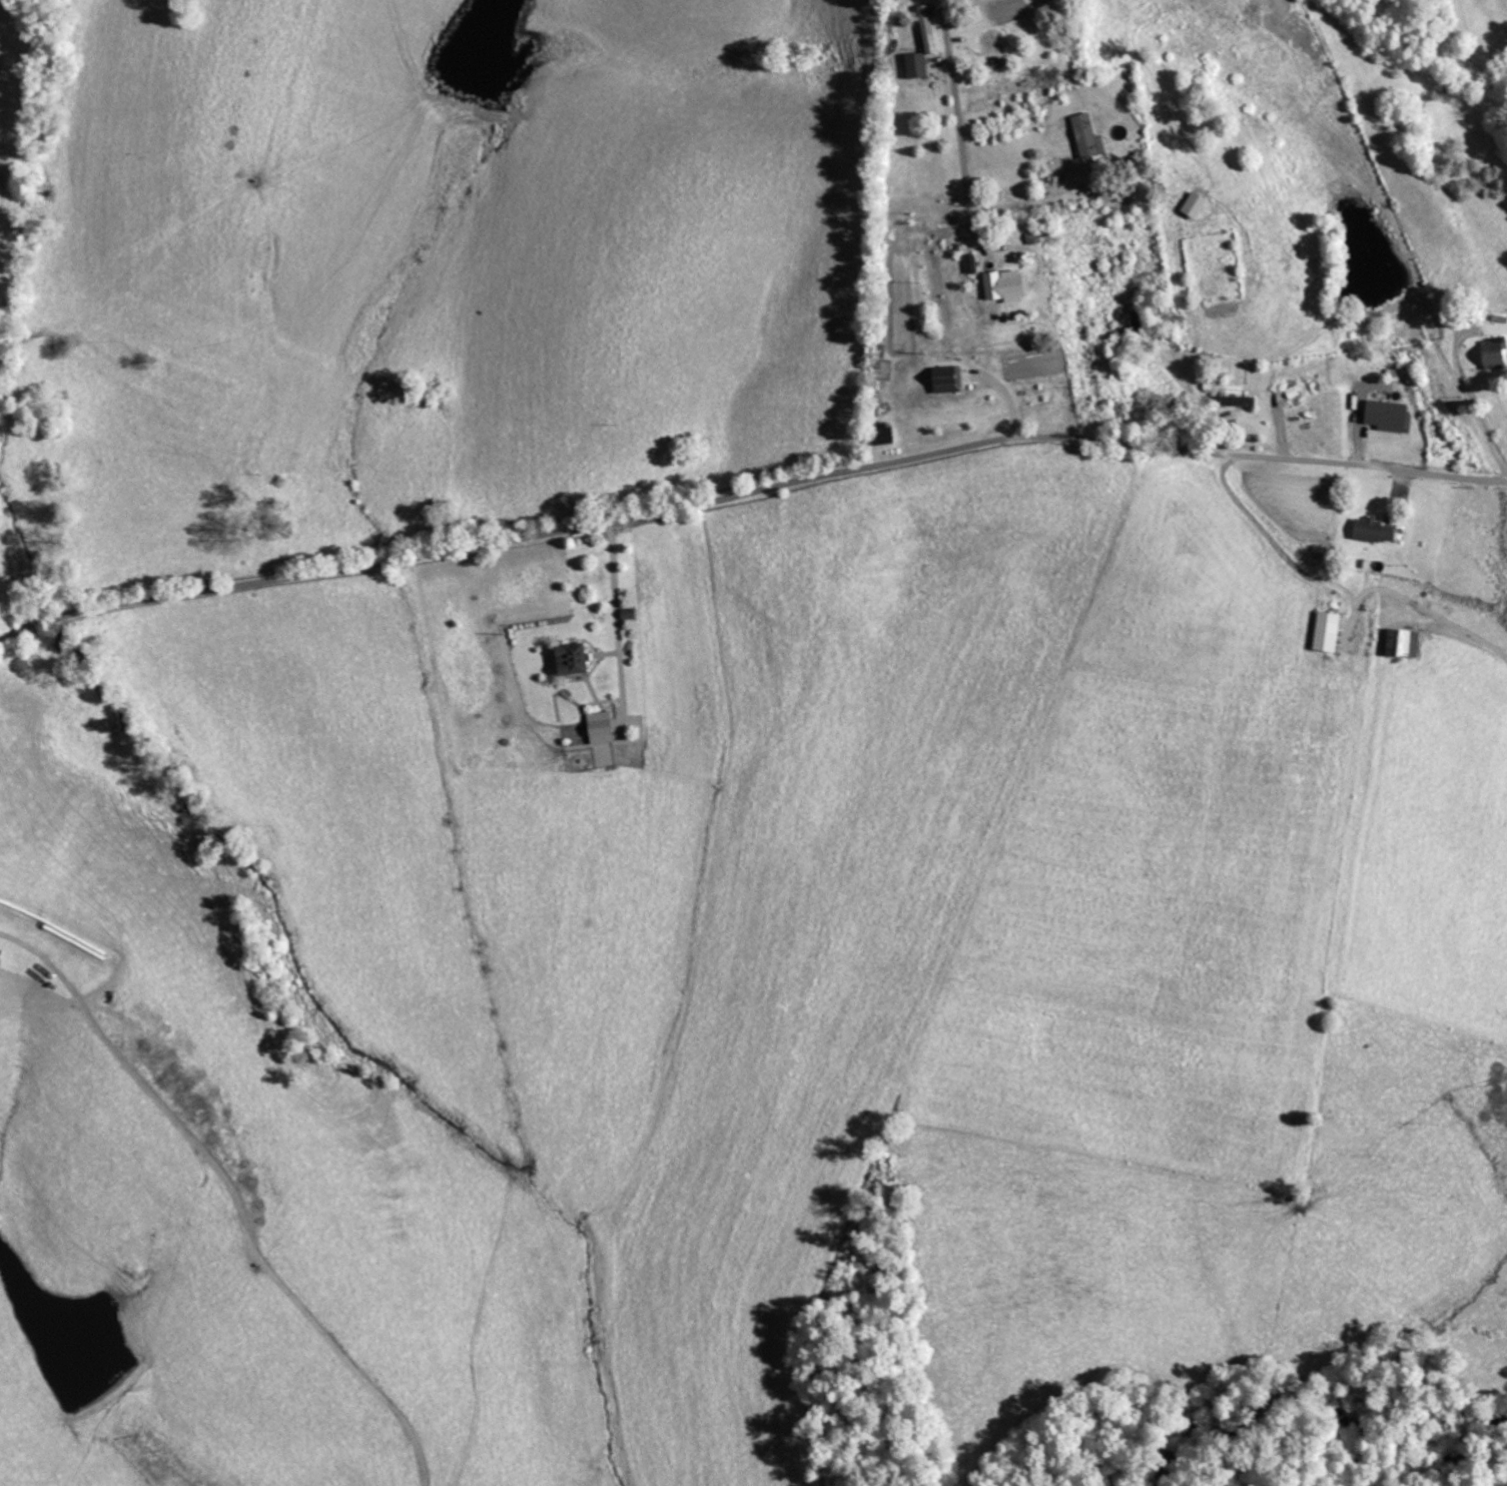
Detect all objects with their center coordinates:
building: (926, 28)
building: (914, 65)
road: (956, 94)
building: (1083, 135)
building: (1191, 205)
building: (1000, 286)
building: (1490, 352)
building: (943, 379)
building: (1385, 416)
building: (882, 436)
road: (750, 493)
building: (1370, 530)
building: (632, 613)
building: (1323, 632)
building: (1403, 645)
building: (578, 658)
building: (606, 727)

